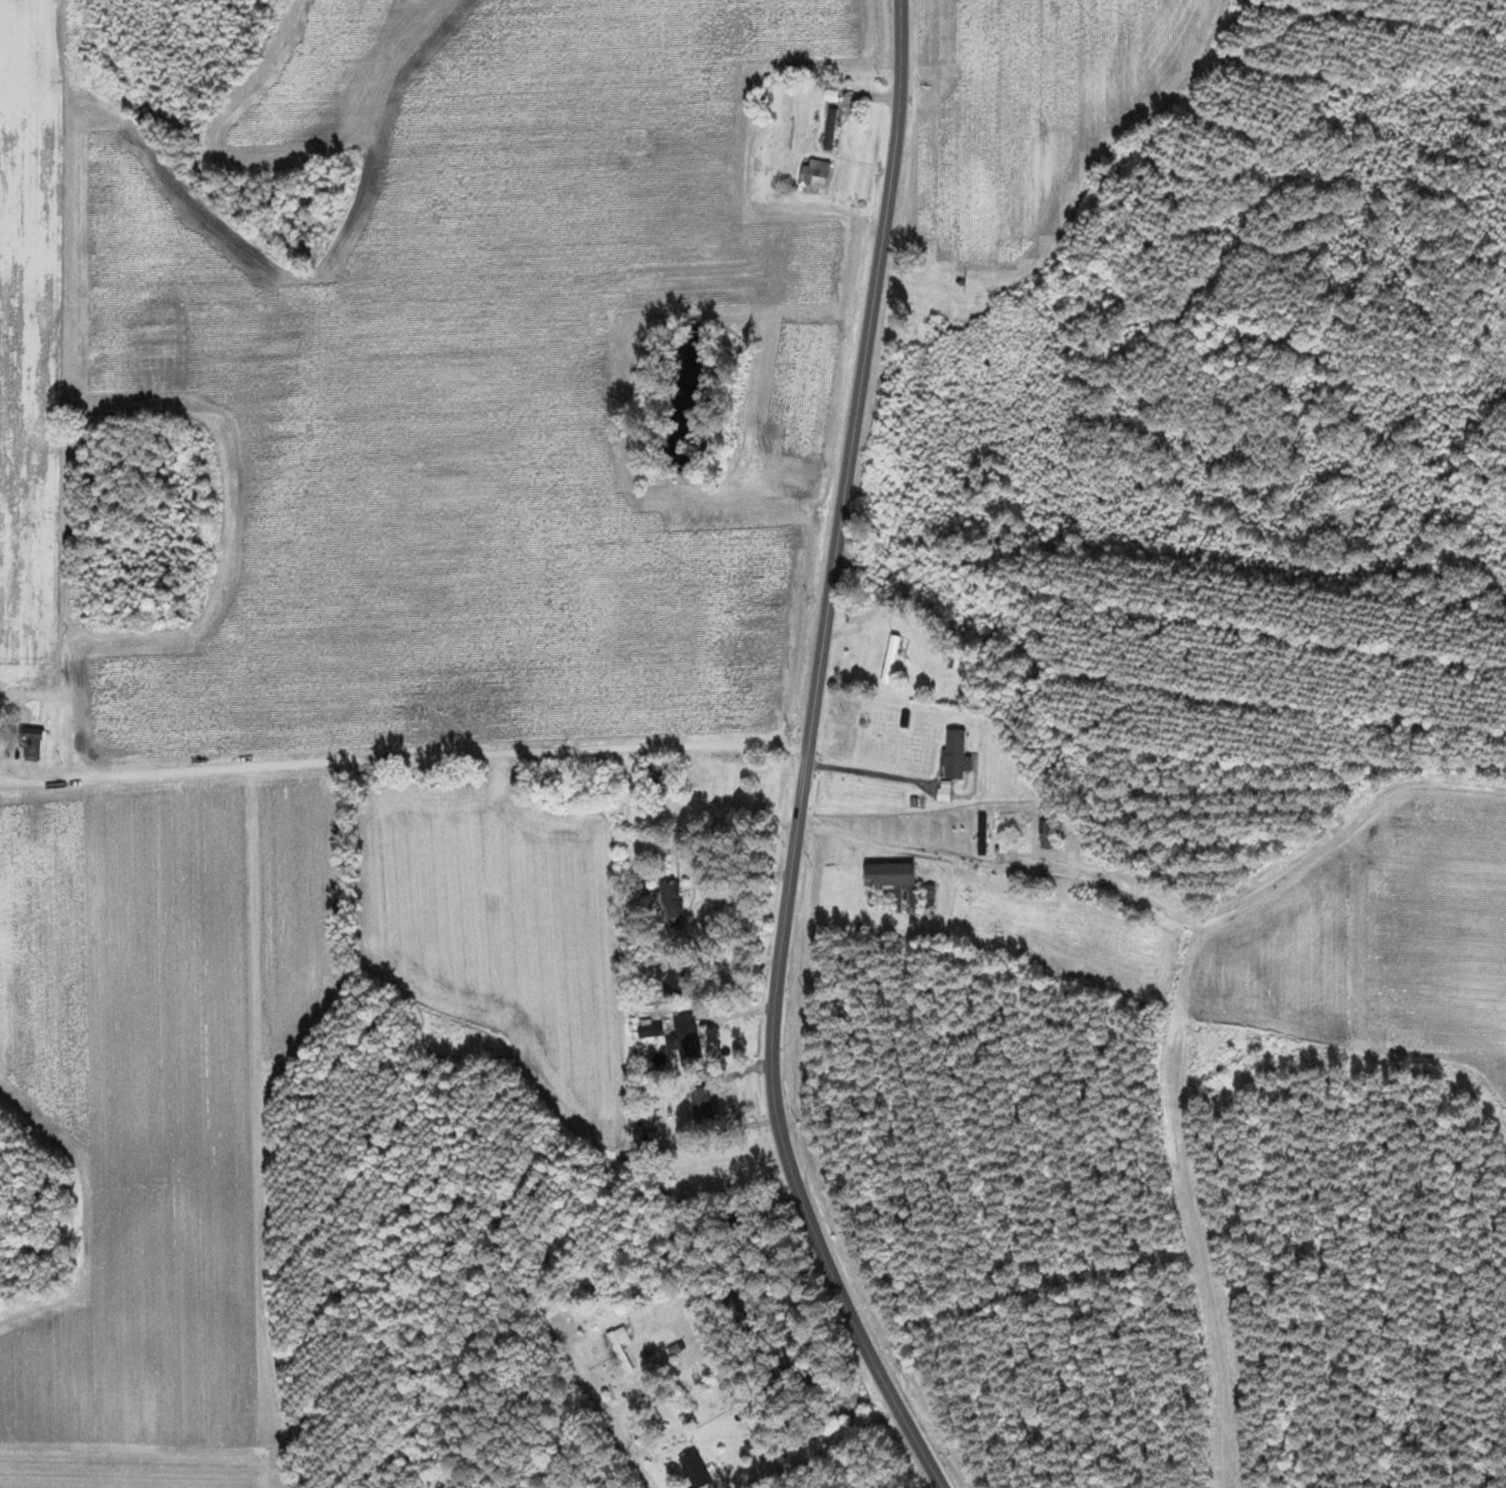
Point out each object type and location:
building: (831, 130)
building: (816, 177)
building: (891, 660)
building: (33, 744)
building: (872, 745)
building: (957, 755)
road: (806, 758)
building: (664, 773)
building: (1047, 834)
building: (982, 835)
building: (895, 878)
building: (670, 903)
building: (676, 979)
building: (686, 1038)
building: (703, 1105)
building: (620, 1347)
building: (648, 1405)
road: (827, 1447)
building: (697, 1471)

